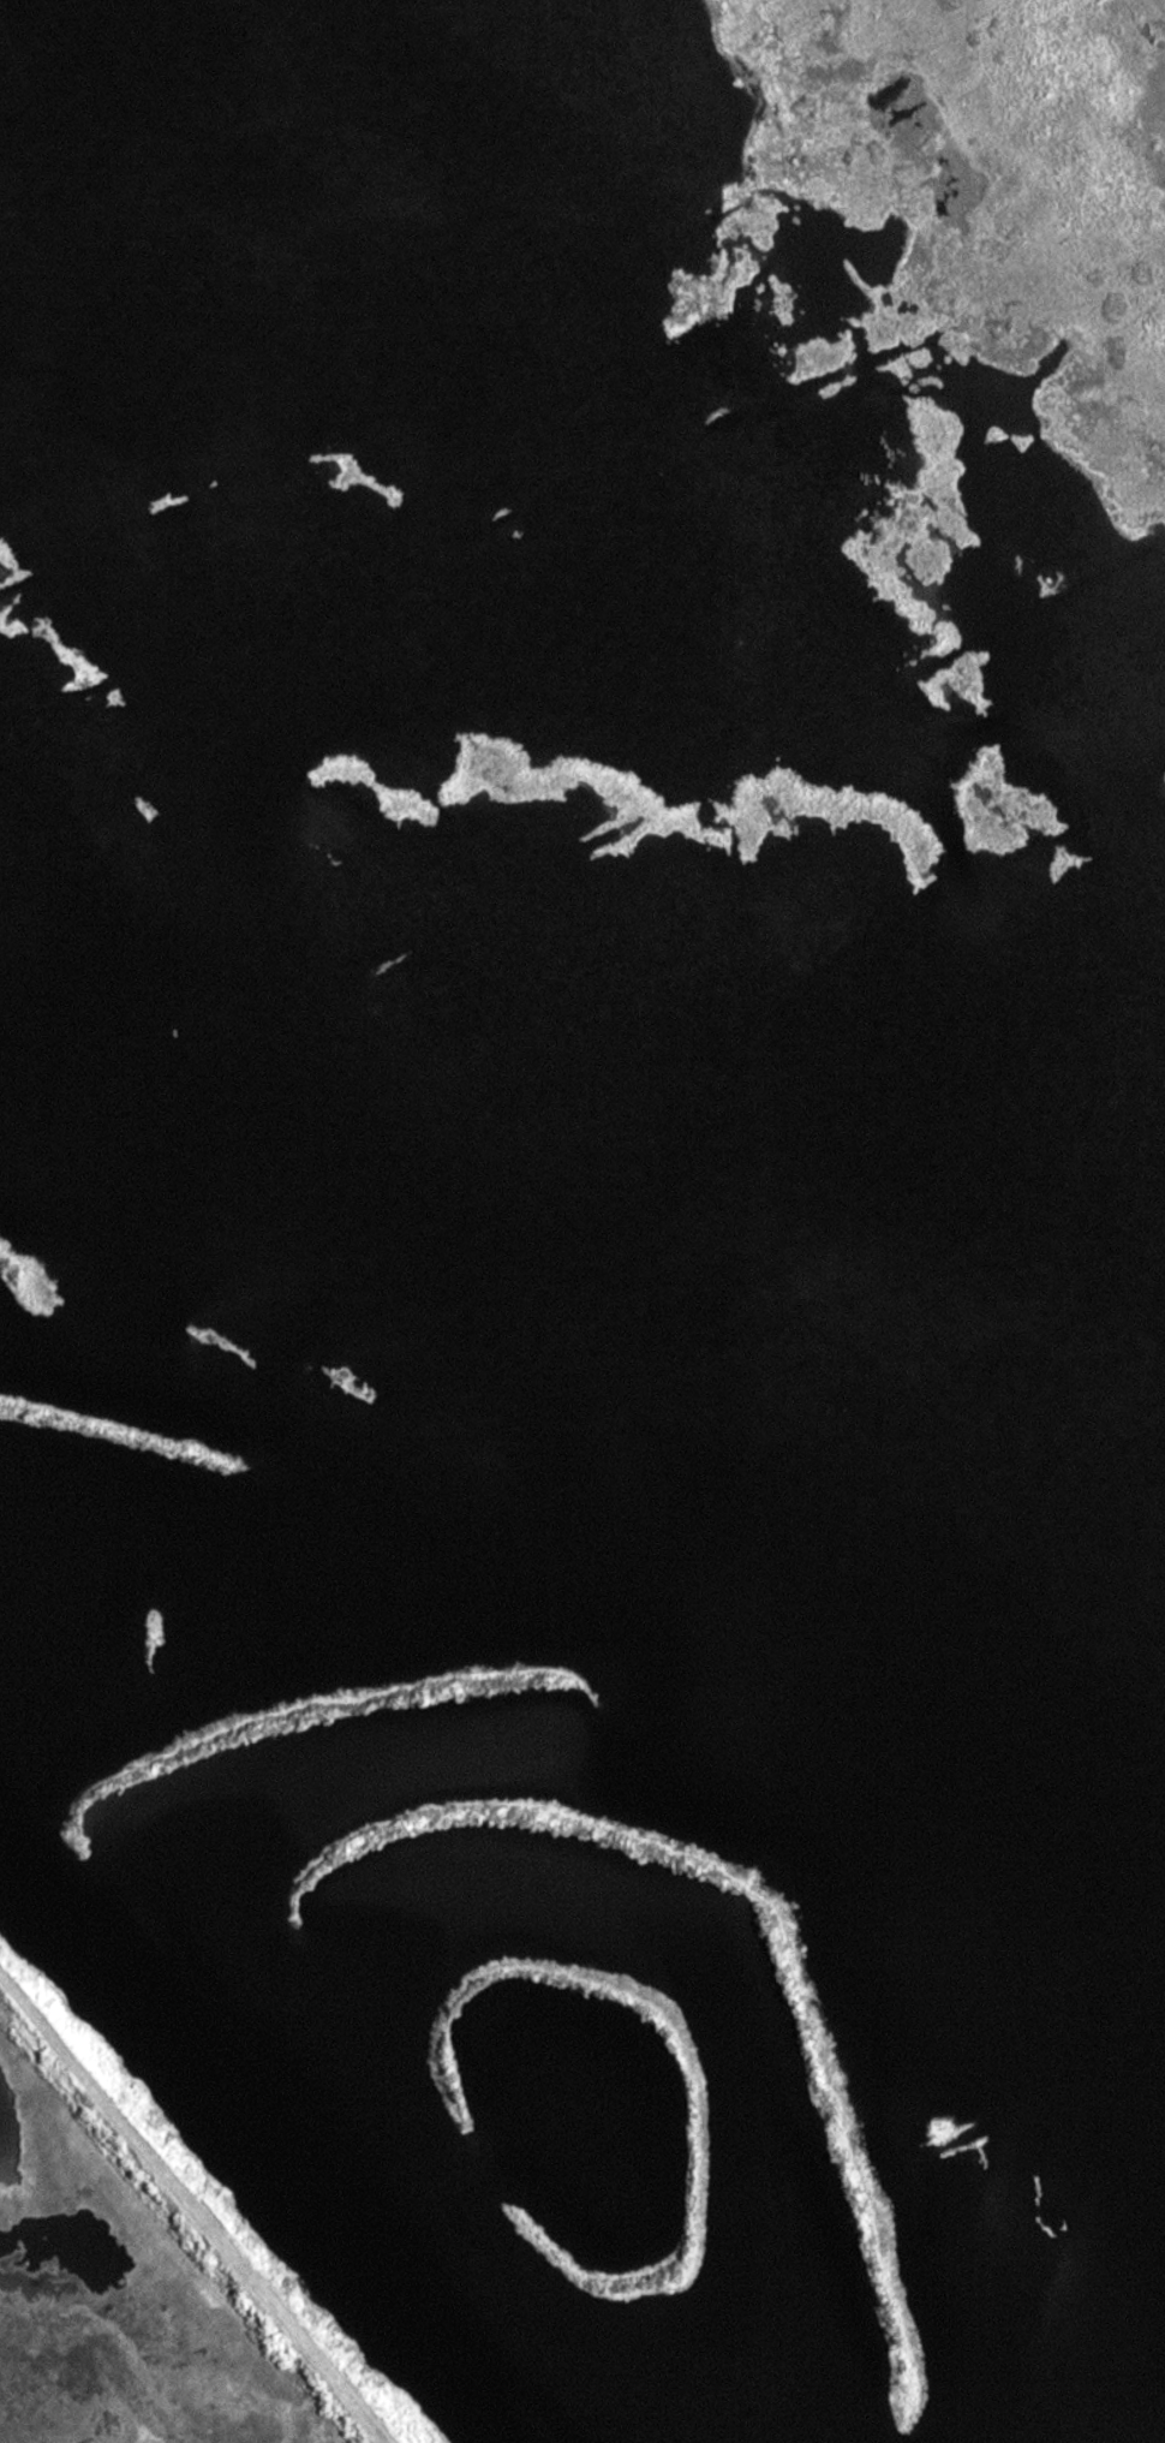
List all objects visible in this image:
road: (195, 2207)

